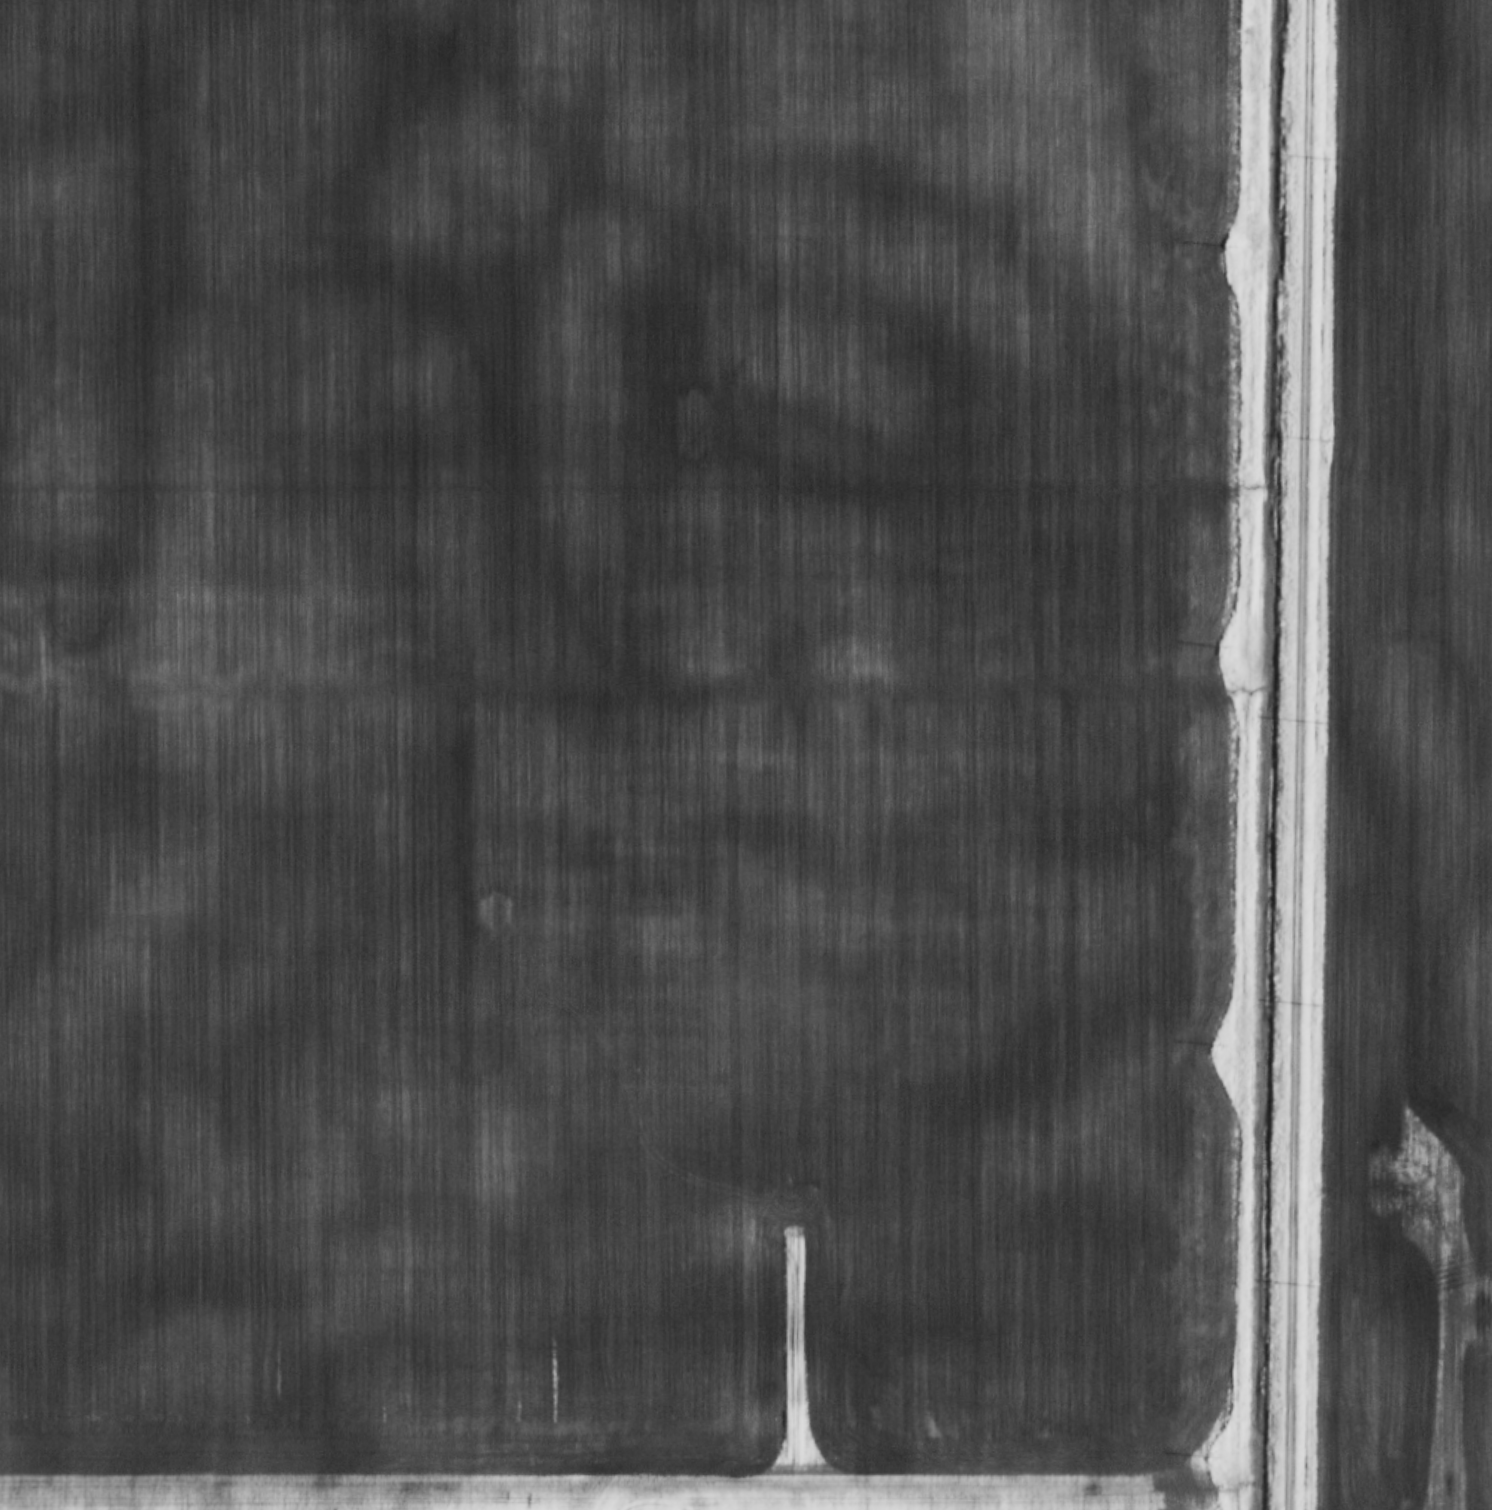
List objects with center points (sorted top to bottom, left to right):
road: (1291, 754)

